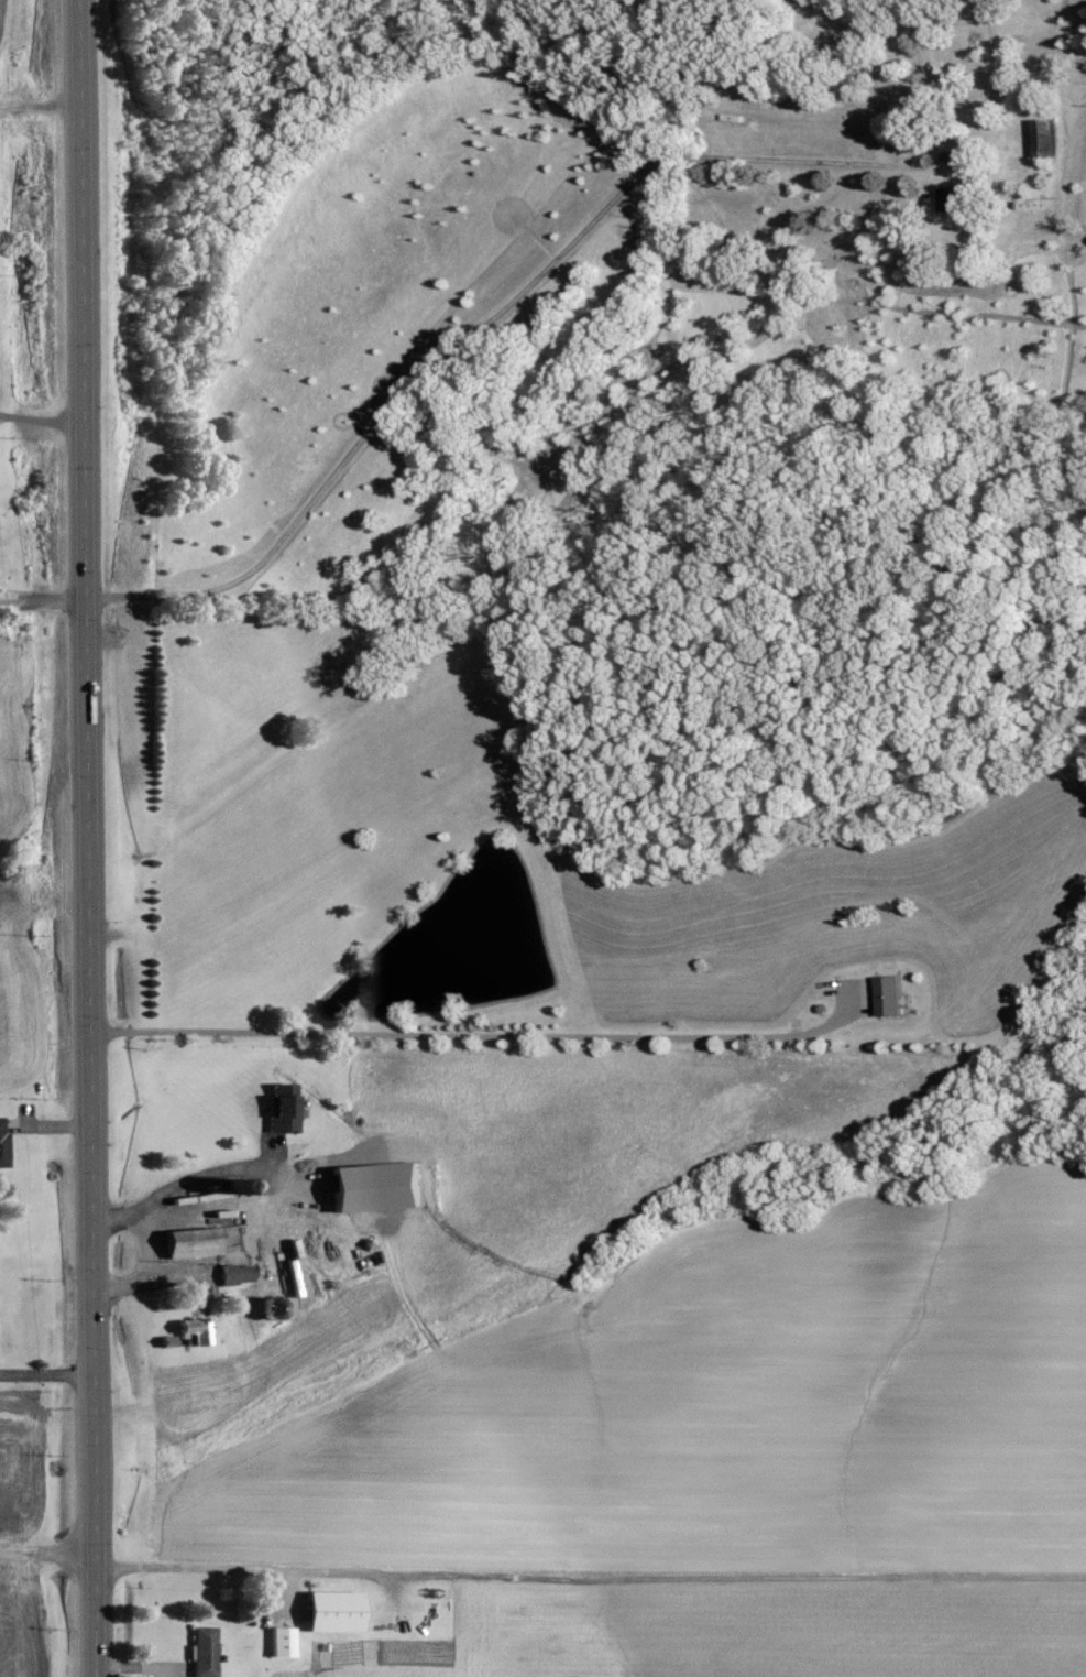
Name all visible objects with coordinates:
building: (1050, 134)
building: (952, 198)
road: (40, 600)
road: (80, 838)
building: (891, 995)
road: (480, 1034)
building: (285, 1108)
building: (3, 1143)
road: (179, 1184)
building: (195, 1242)
road: (145, 1267)
building: (238, 1274)
building: (198, 1331)
road: (47, 1371)
road: (48, 1553)
road: (591, 1569)
building: (337, 1611)
building: (285, 1642)
building: (205, 1652)

